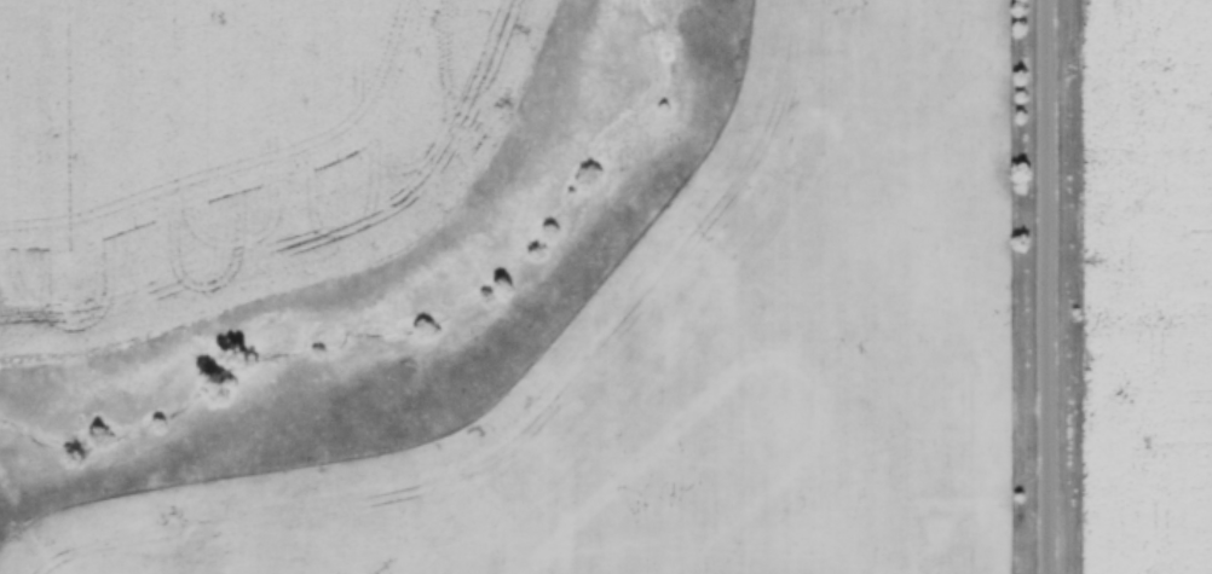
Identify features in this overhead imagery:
road: (1055, 286)

